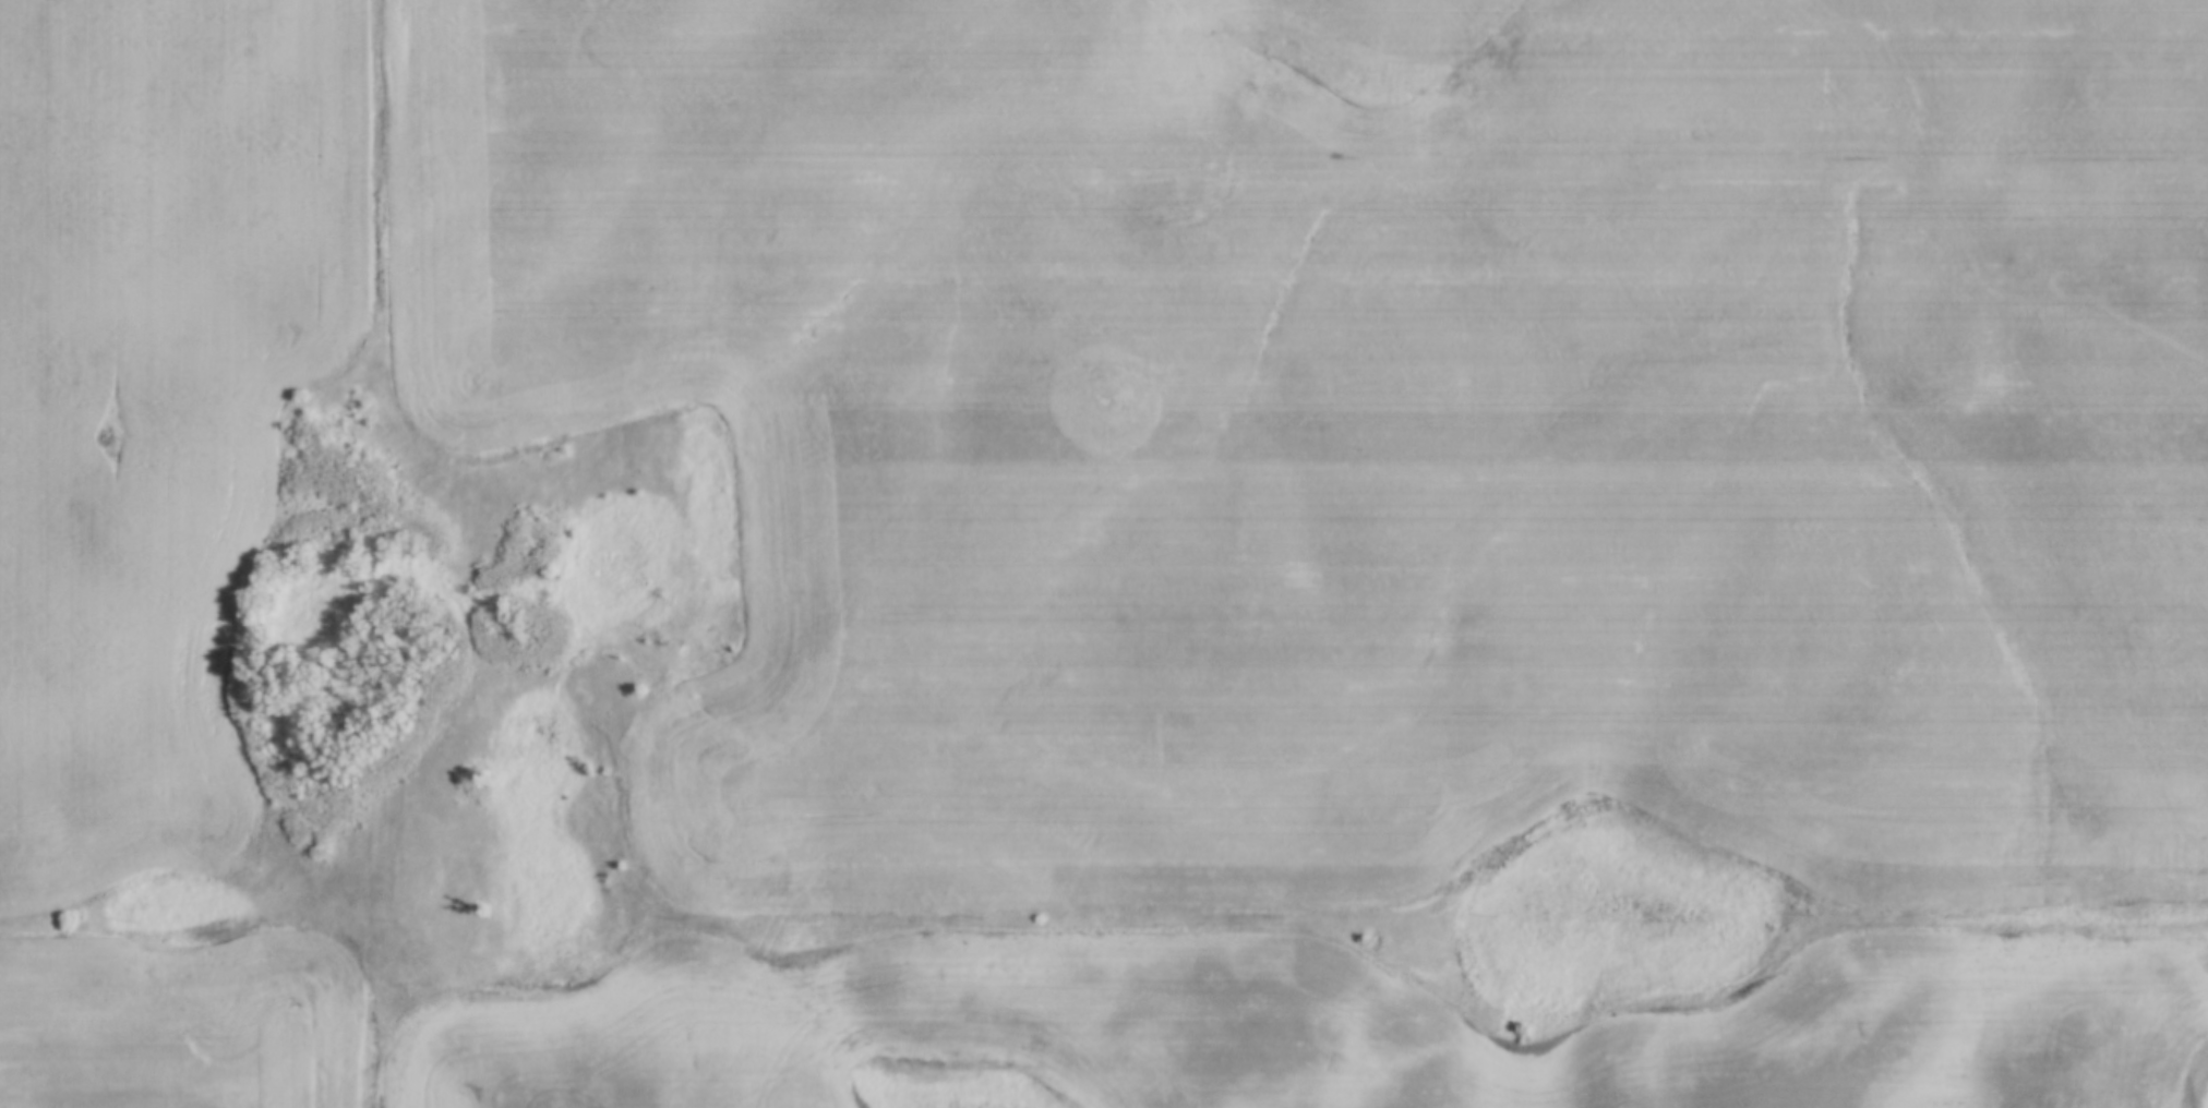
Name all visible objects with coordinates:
wind turbine: (2056, 277)

